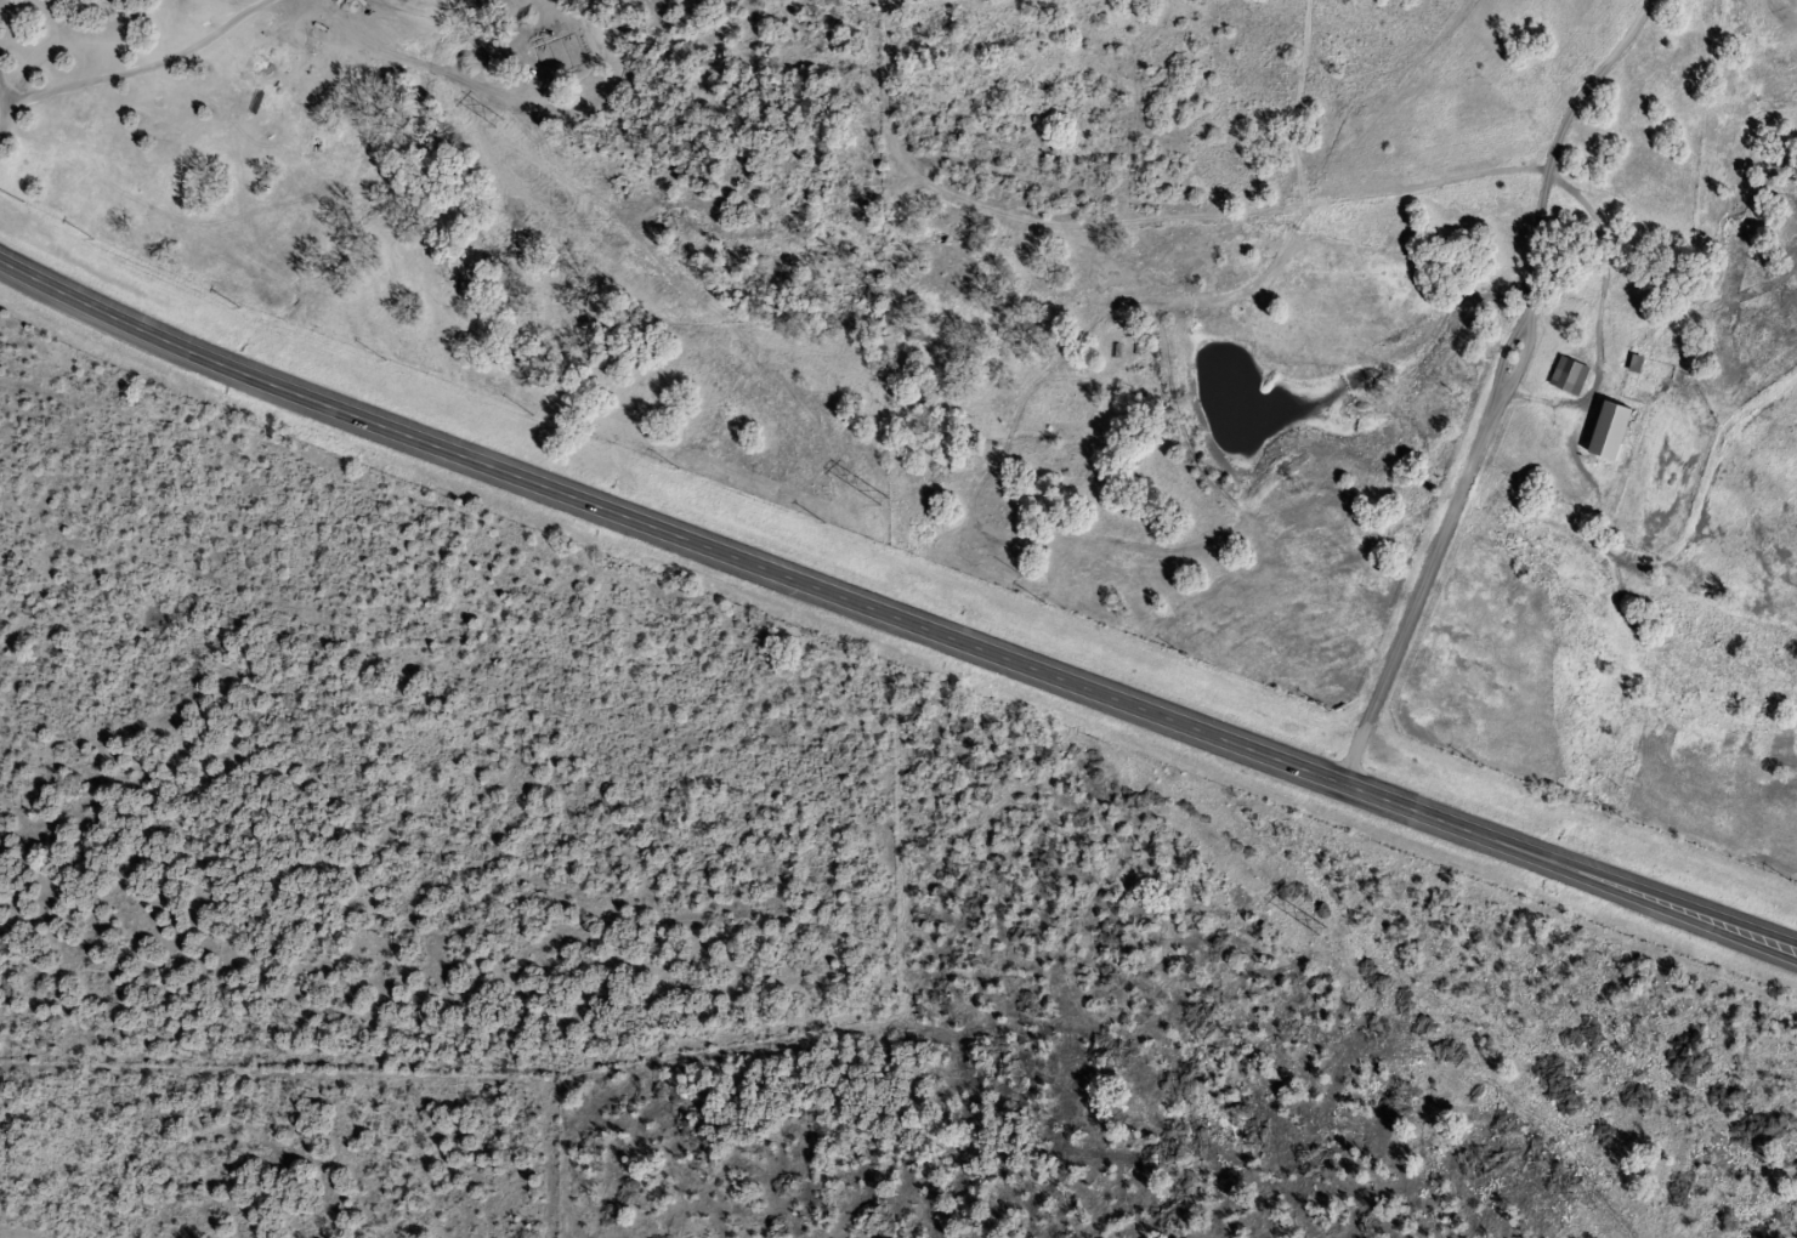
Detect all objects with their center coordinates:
power tower: (498, 123)
building: (1561, 382)
building: (1602, 431)
power tower: (884, 500)
road: (895, 617)
power tower: (1322, 931)

